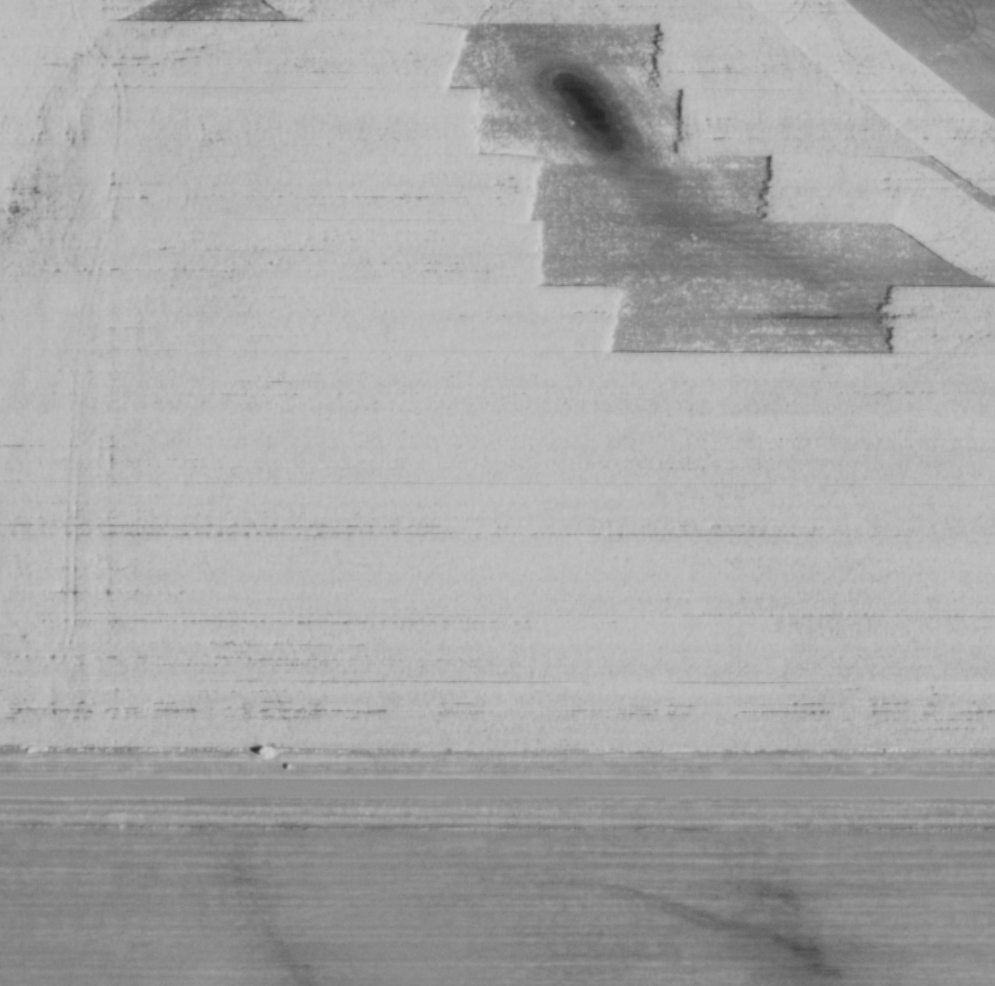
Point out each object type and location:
road: (497, 788)

